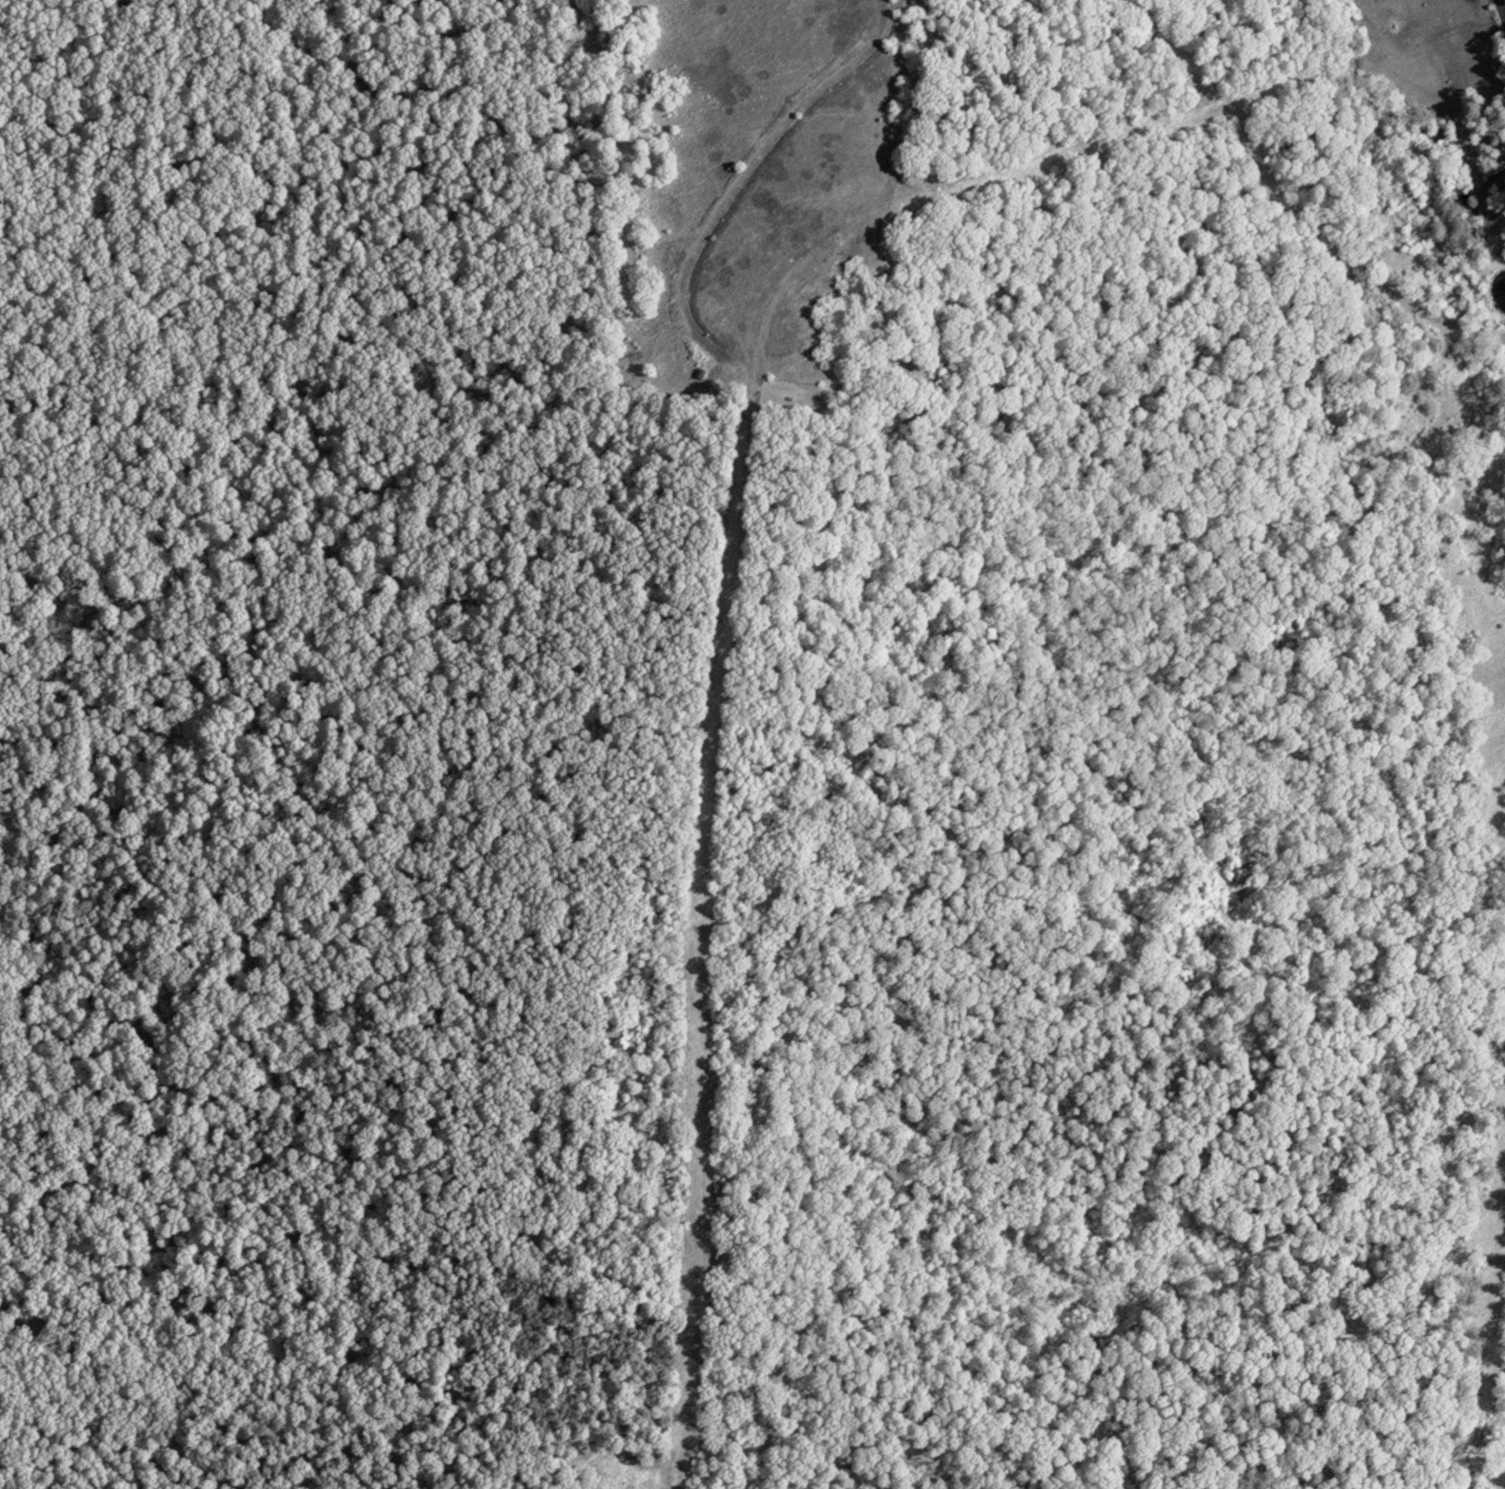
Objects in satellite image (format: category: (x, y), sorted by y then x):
road: (1496, 29)

